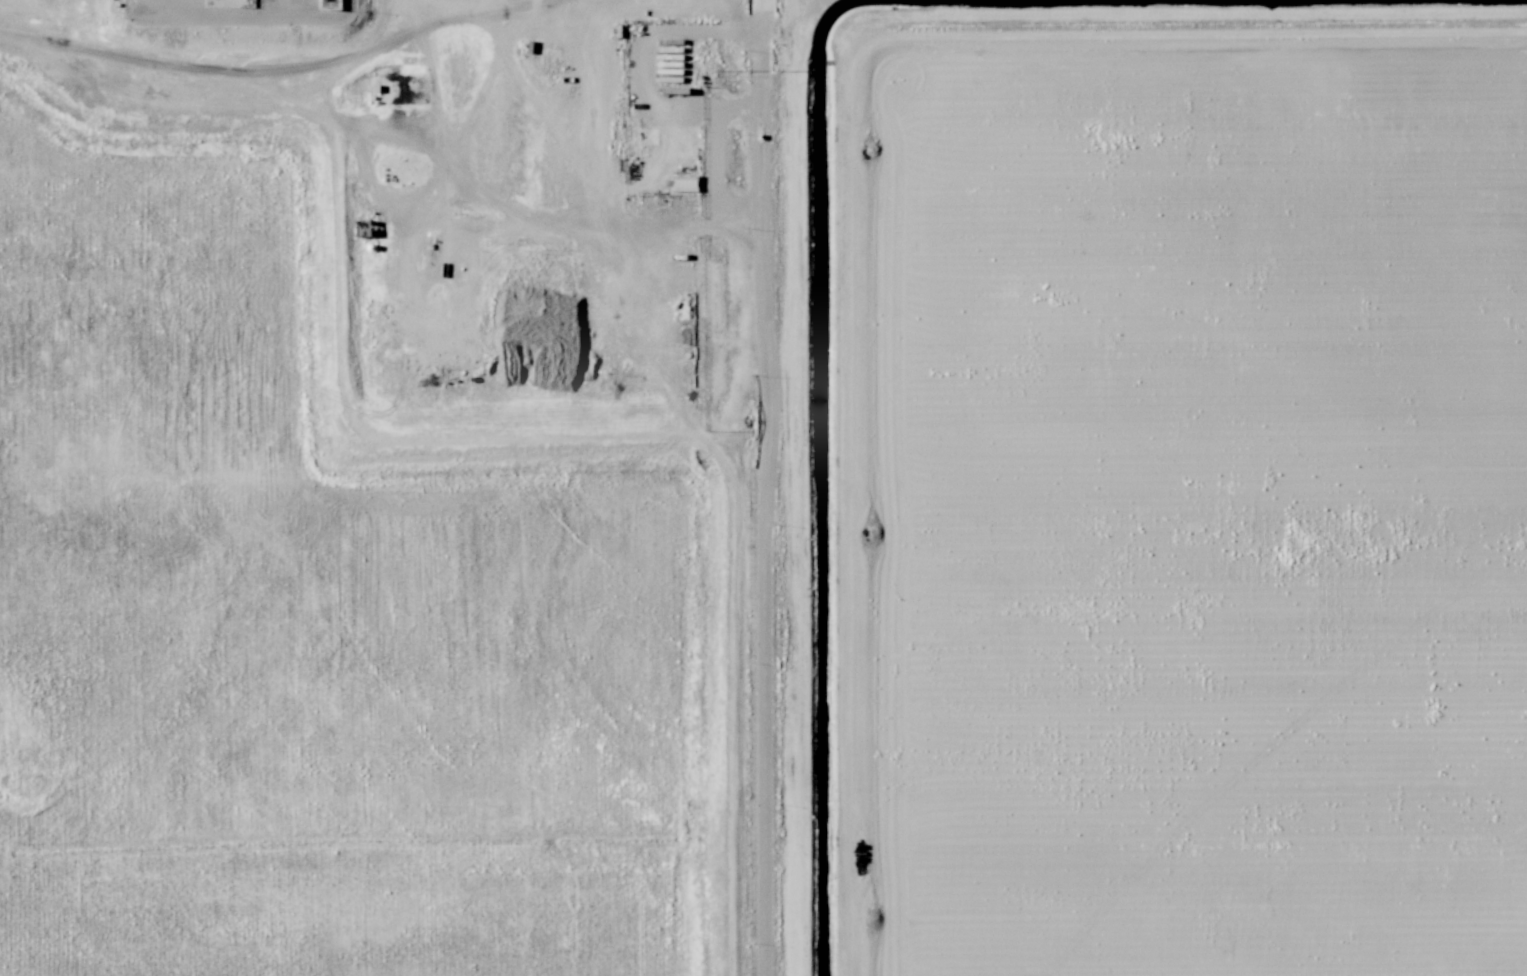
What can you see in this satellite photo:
building: (682, 182)
wastewater plant: (394, 487)
road: (764, 487)
crop: (1193, 501)
wastewater plant: (307, 626)

